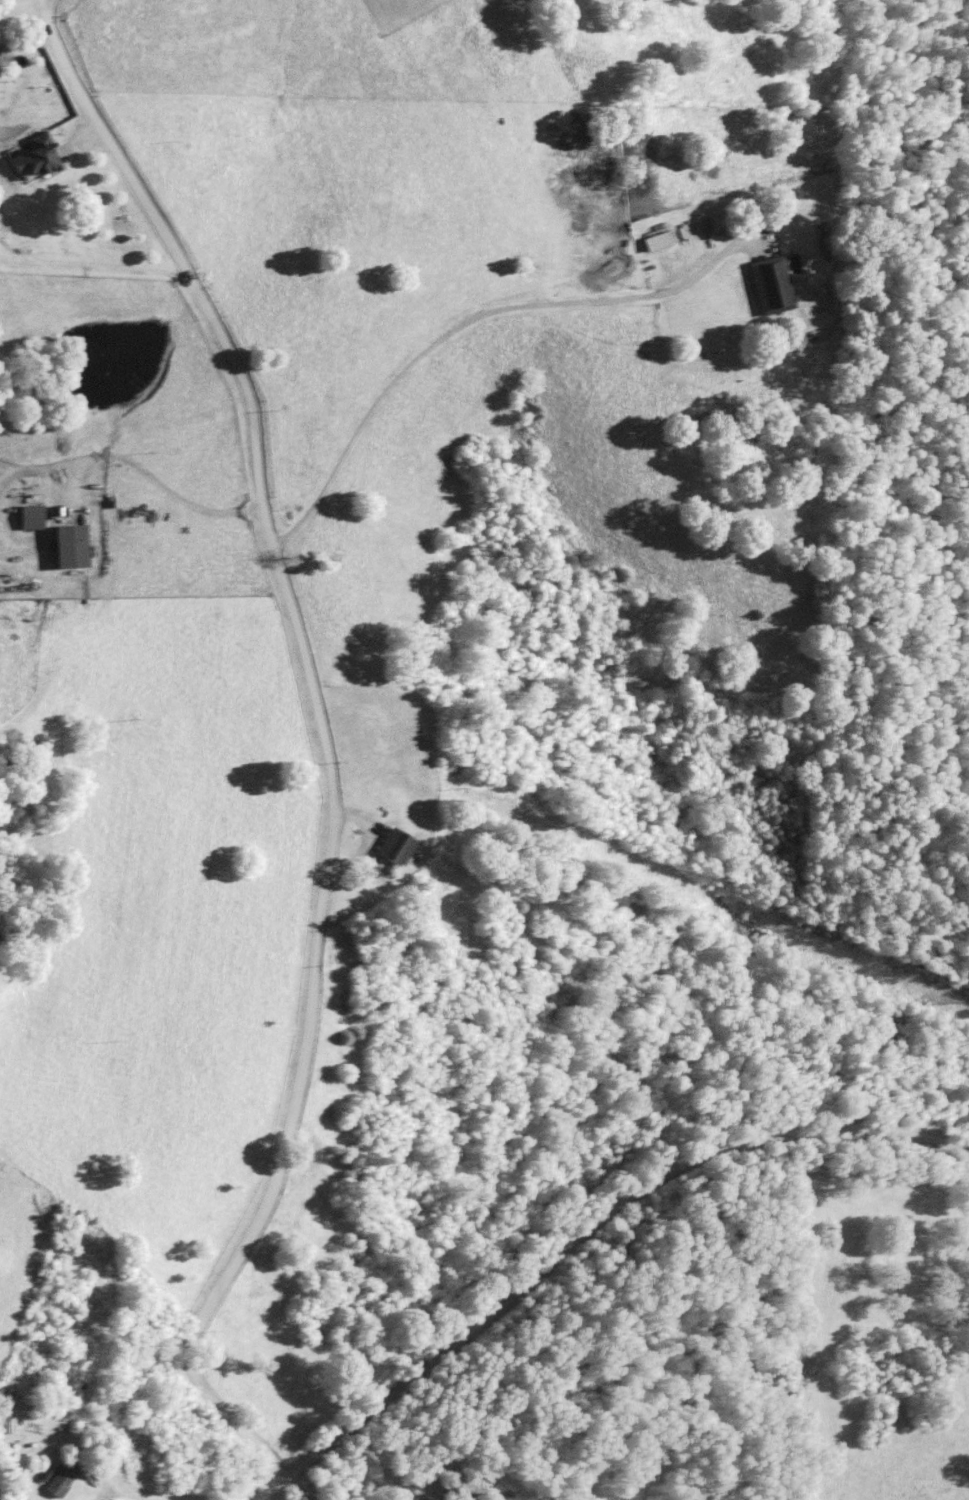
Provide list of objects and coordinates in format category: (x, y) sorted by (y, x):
road: (42, 1)
road: (43, 1)
building: (27, 158)
building: (648, 241)
building: (763, 285)
road: (469, 316)
road: (145, 477)
building: (23, 517)
building: (60, 547)
road: (324, 739)
building: (385, 846)
road: (580, 1237)
building: (51, 1481)

